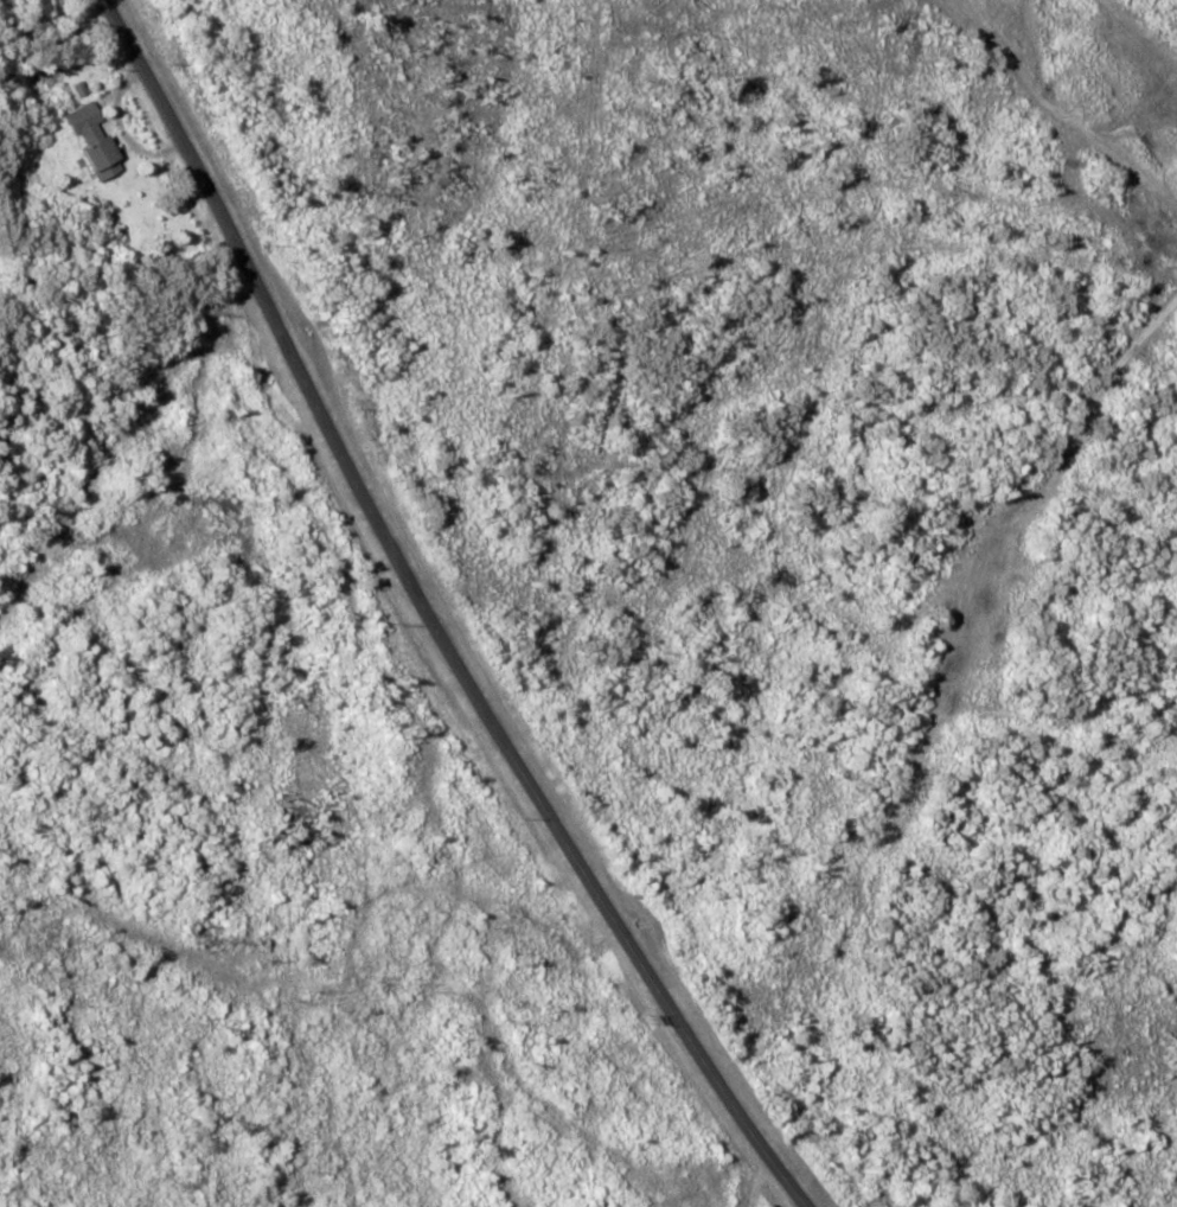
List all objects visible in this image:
building: (82, 119)
building: (102, 158)
road: (104, 311)
road: (397, 617)

